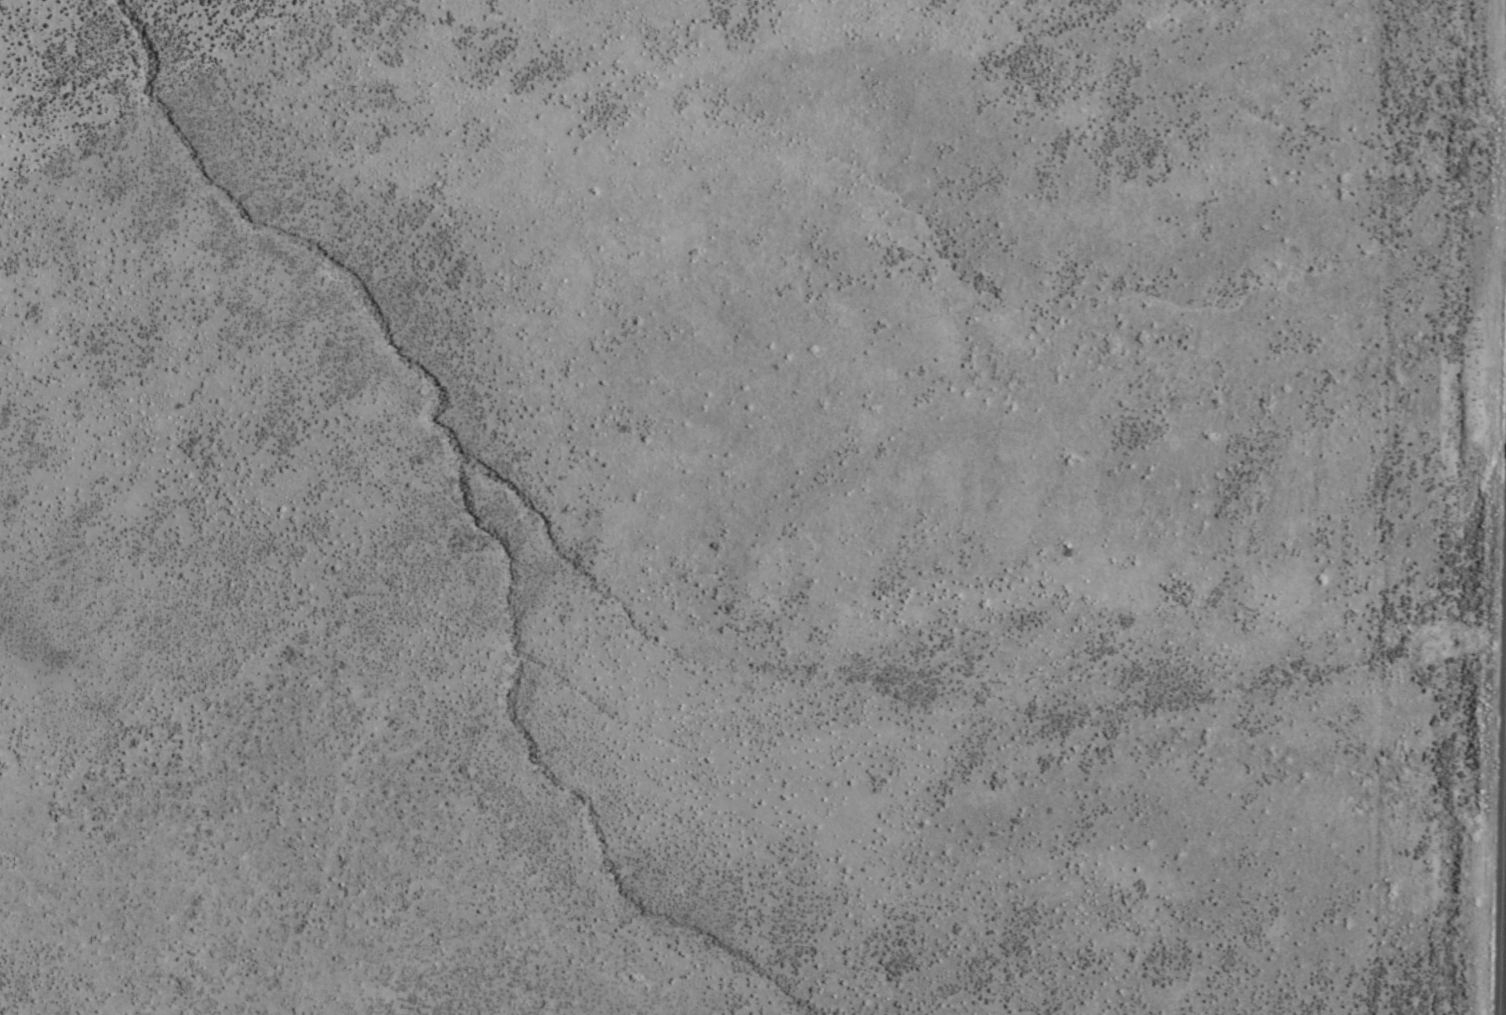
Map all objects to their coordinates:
crop: (732, 540)

